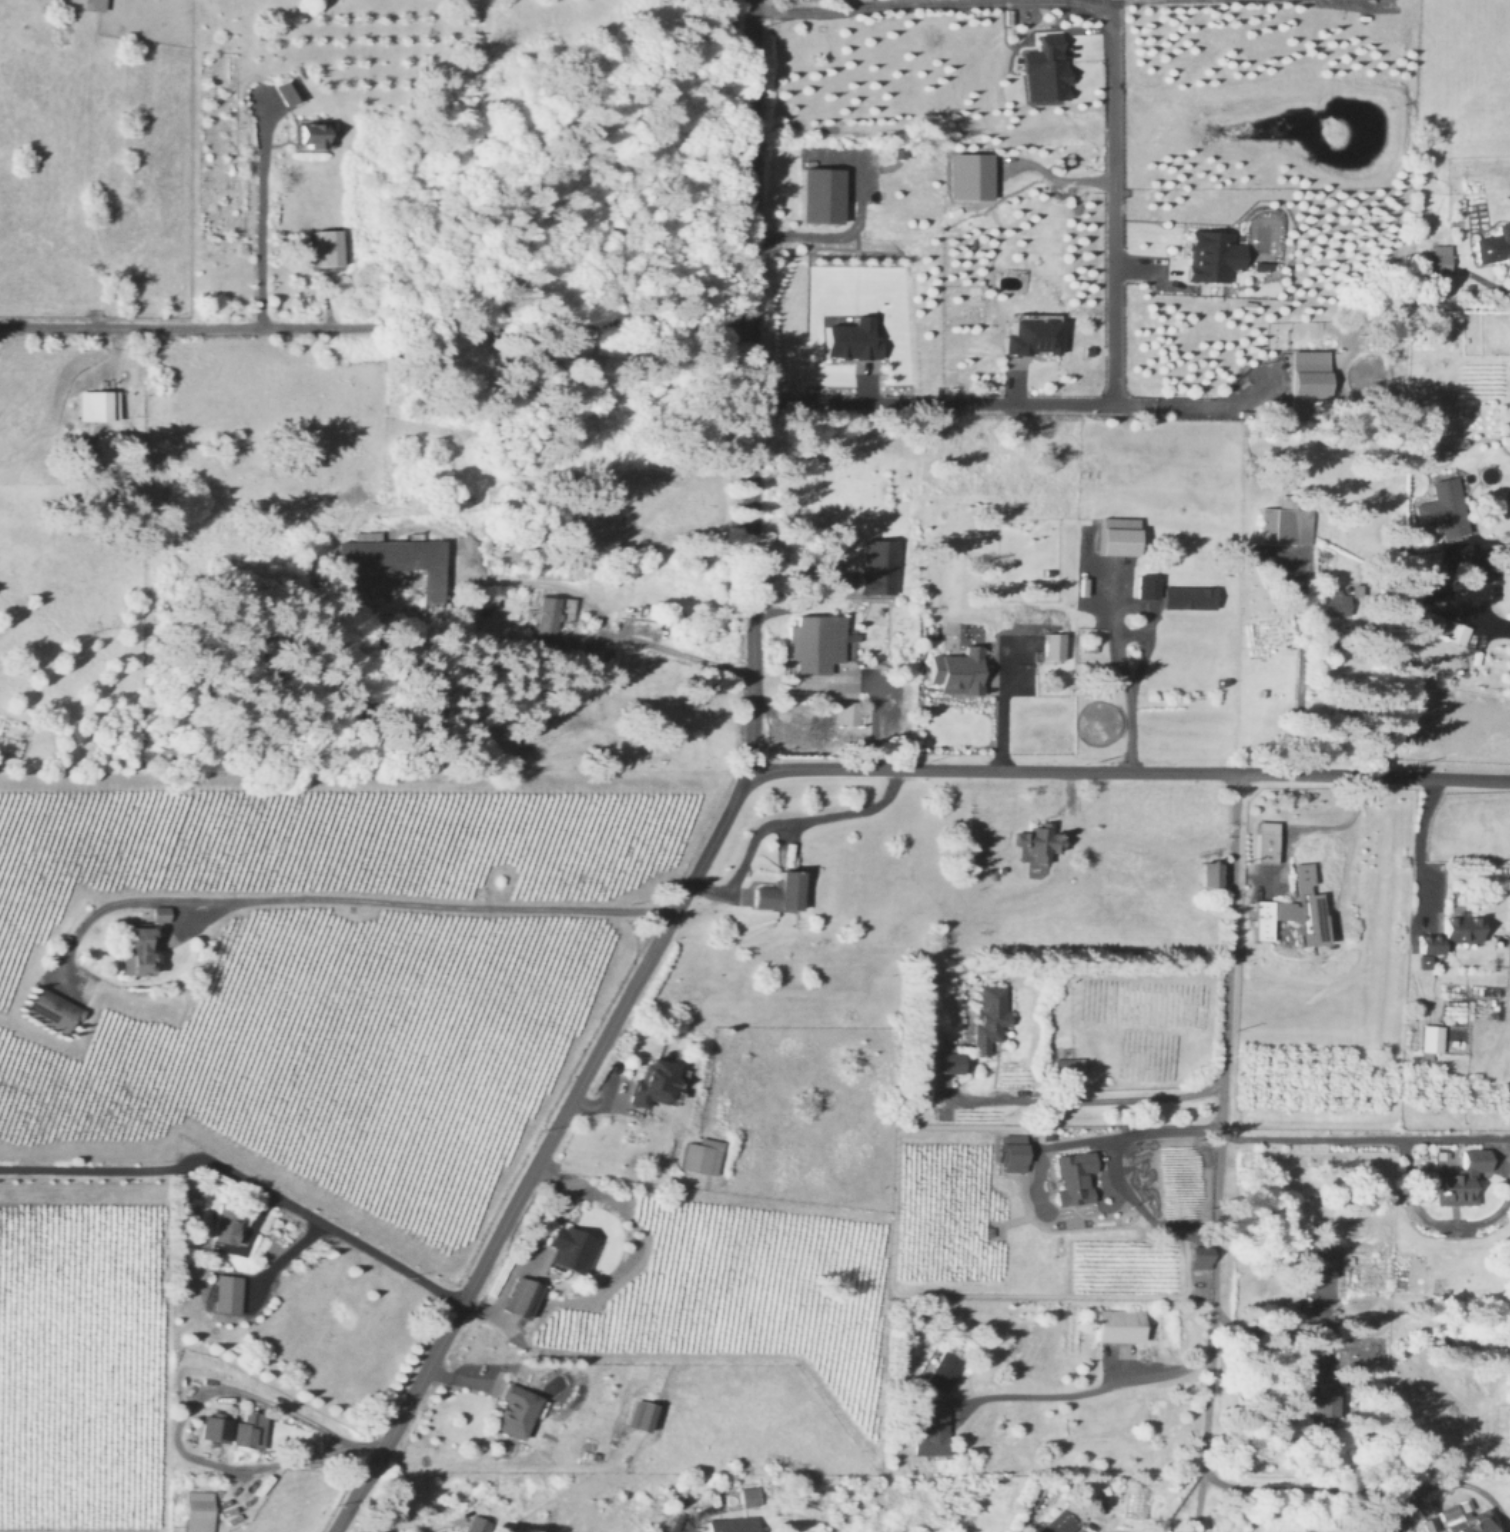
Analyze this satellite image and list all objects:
building: (95, 4)
building: (1047, 69)
building: (290, 91)
building: (314, 134)
building: (823, 194)
road: (1109, 208)
road: (262, 213)
road: (817, 238)
building: (1495, 244)
building: (329, 247)
building: (1214, 255)
building: (1441, 256)
crop: (79, 285)
road: (375, 328)
building: (1034, 336)
building: (854, 339)
building: (1311, 372)
road: (1174, 402)
building: (99, 404)
building: (1445, 507)
building: (1287, 525)
building: (1121, 535)
building: (398, 559)
building: (880, 566)
road: (1458, 582)
building: (1150, 585)
building: (1358, 589)
building: (1191, 596)
building: (1337, 602)
building: (554, 612)
road: (602, 619)
building: (1447, 626)
building: (820, 642)
building: (1055, 645)
building: (959, 670)
road: (1301, 701)
road: (1131, 708)
building: (850, 711)
road: (995, 715)
road: (1128, 771)
road: (727, 813)
road: (784, 821)
building: (1042, 840)
building: (1268, 840)
road: (1421, 844)
building: (1213, 872)
building: (781, 890)
road: (428, 906)
building: (1296, 909)
building: (161, 912)
building: (139, 950)
building: (53, 1008)
building: (992, 1016)
building: (1431, 1039)
building: (951, 1061)
building: (1067, 1065)
building: (659, 1082)
road: (1091, 1103)
road: (1464, 1132)
road: (1312, 1133)
building: (1015, 1151)
road: (1220, 1152)
building: (703, 1154)
road: (1117, 1166)
building: (1075, 1176)
building: (1463, 1177)
road: (245, 1180)
road: (1430, 1215)
building: (228, 1223)
building: (571, 1246)
road: (282, 1254)
building: (1203, 1255)
building: (229, 1292)
building: (524, 1295)
building: (1121, 1324)
road: (1280, 1327)
building: (945, 1370)
road: (1089, 1390)
building: (1320, 1403)
building: (518, 1409)
building: (643, 1414)
building: (216, 1426)
building: (251, 1428)
building: (931, 1429)
road: (176, 1443)
road: (507, 1464)
road: (1319, 1487)
building: (751, 1495)
building: (1450, 1509)
building: (200, 1511)
building: (1387, 1521)
building: (1059, 1522)
building: (478, 1523)
building: (736, 1523)
building: (1480, 1523)
building: (1431, 1524)
road: (434, 1529)

